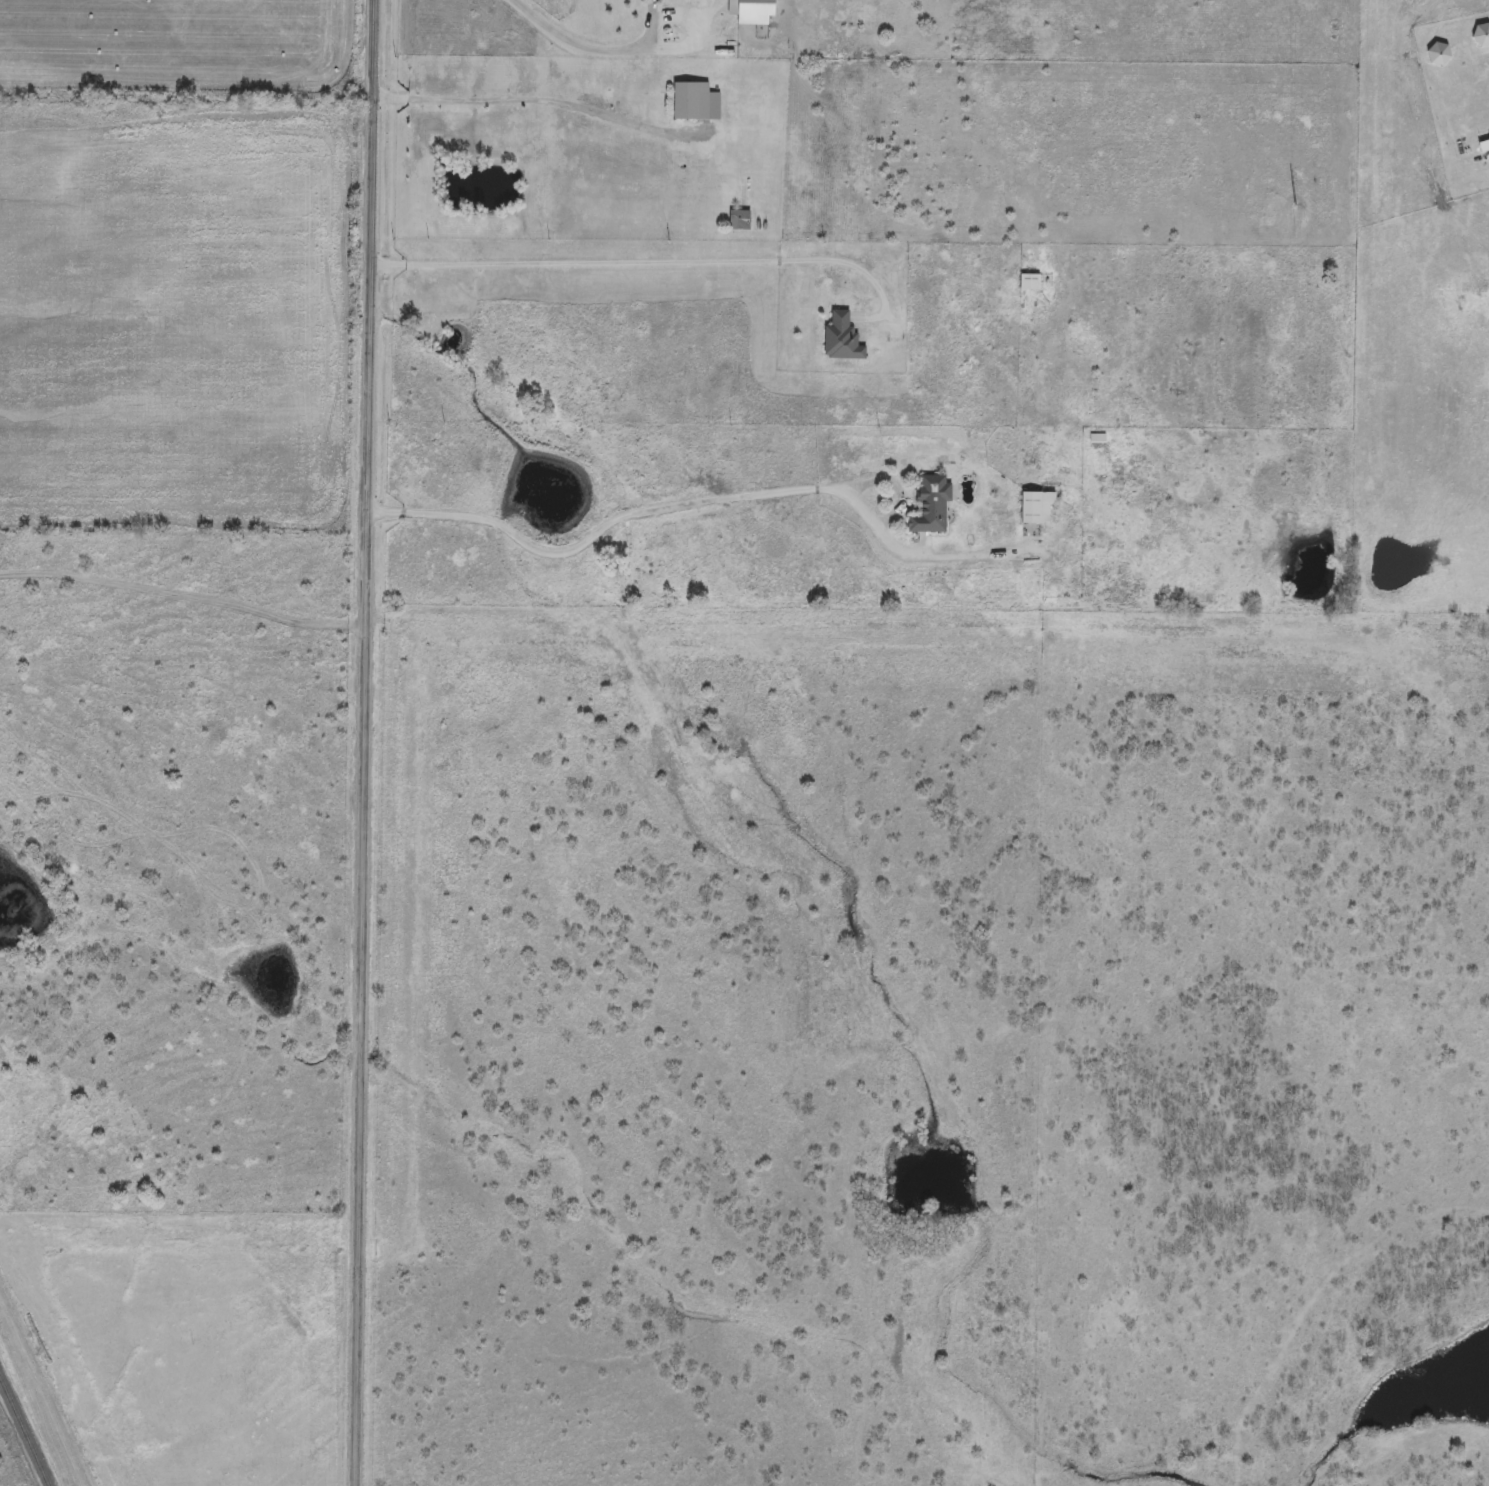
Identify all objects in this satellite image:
building: (752, 12)
road: (589, 45)
road: (527, 98)
building: (694, 103)
building: (739, 222)
road: (649, 260)
building: (1030, 284)
building: (842, 340)
building: (1097, 440)
road: (700, 501)
building: (930, 507)
building: (1038, 510)
road: (369, 742)
railway: (22, 1437)

